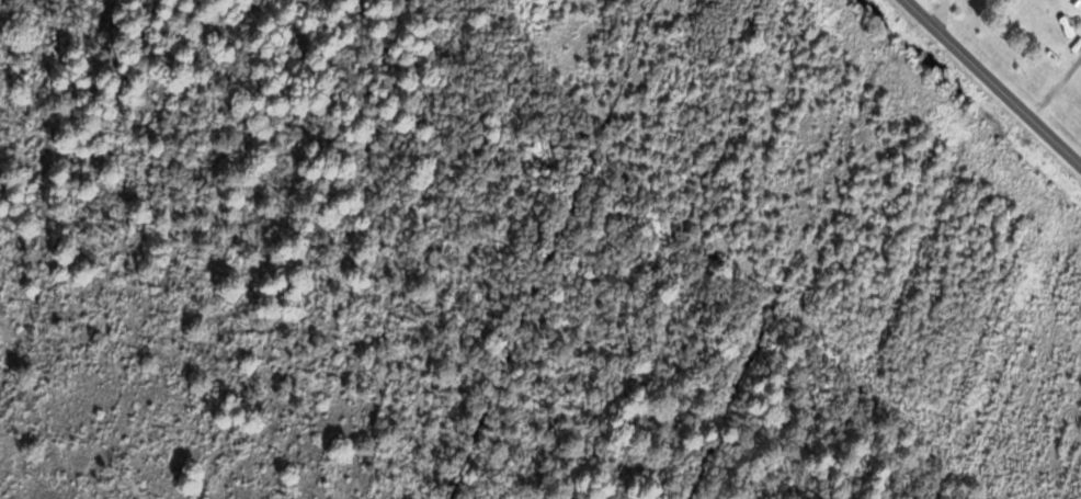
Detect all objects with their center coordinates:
building: (1071, 2)
road: (995, 81)

